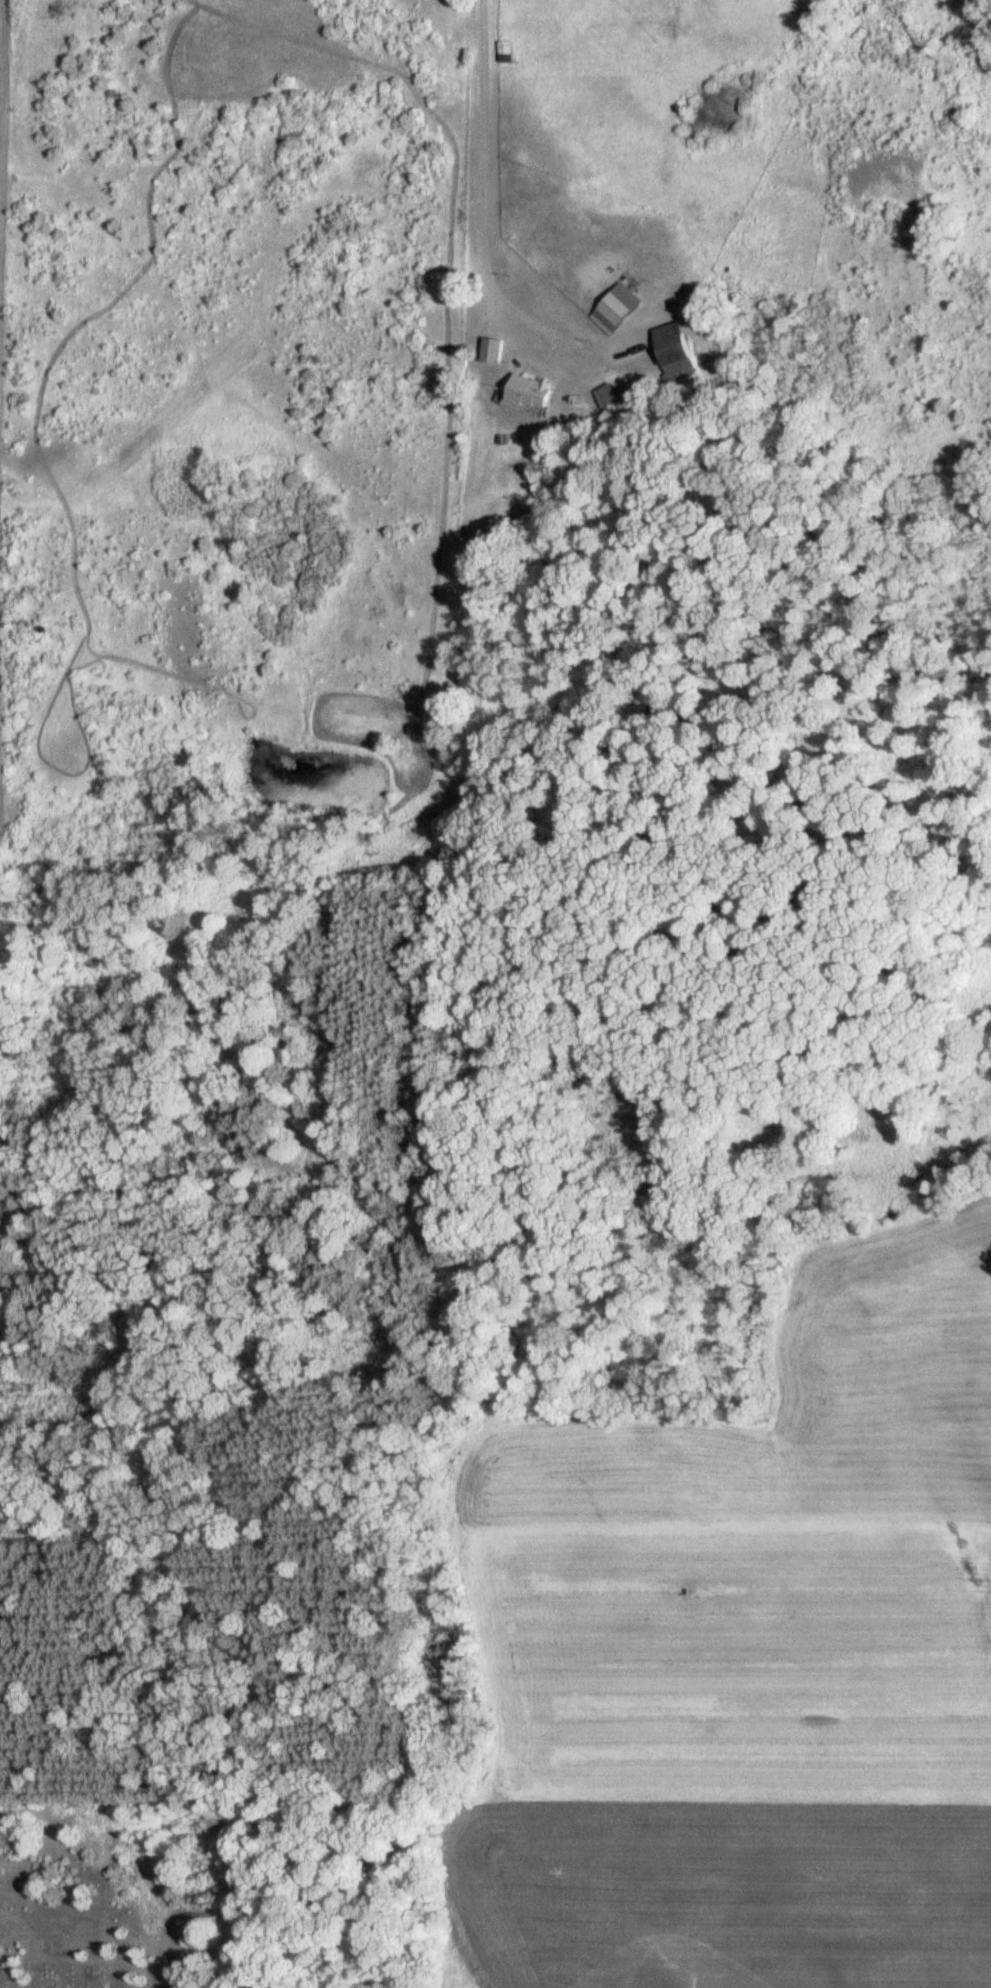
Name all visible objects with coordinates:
building: (504, 51)
building: (616, 307)
building: (676, 350)
building: (531, 392)
building: (607, 396)

